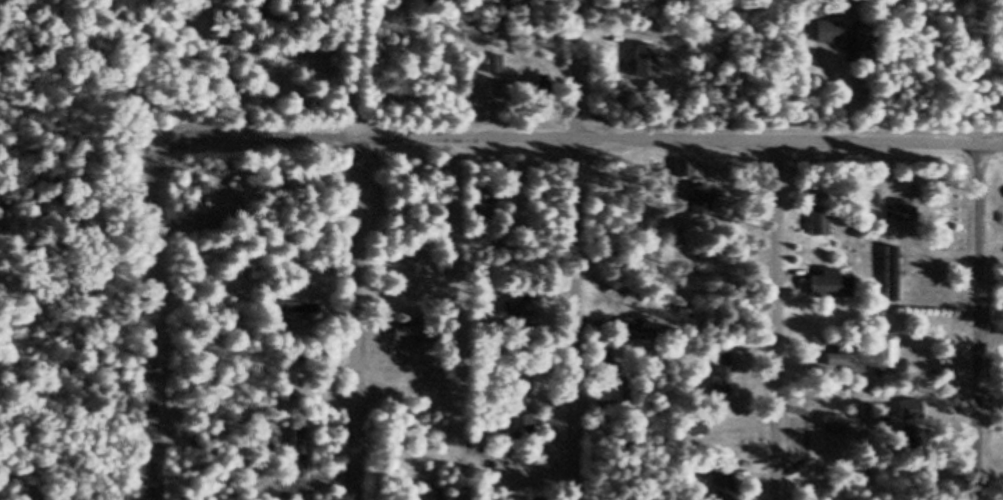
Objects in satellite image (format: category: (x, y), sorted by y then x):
building: (433, 4)
building: (495, 7)
building: (831, 40)
building: (865, 49)
road: (576, 133)
building: (685, 177)
building: (205, 205)
building: (703, 209)
building: (483, 210)
building: (907, 218)
building: (823, 229)
road: (356, 250)
road: (580, 250)
building: (895, 287)
building: (834, 292)
building: (295, 316)
building: (517, 316)
road: (982, 319)
road: (776, 320)
road: (155, 326)
building: (276, 335)
building: (634, 337)
building: (407, 340)
building: (867, 365)
building: (725, 381)
building: (612, 393)
building: (521, 425)
building: (696, 432)
building: (301, 457)
building: (727, 485)

